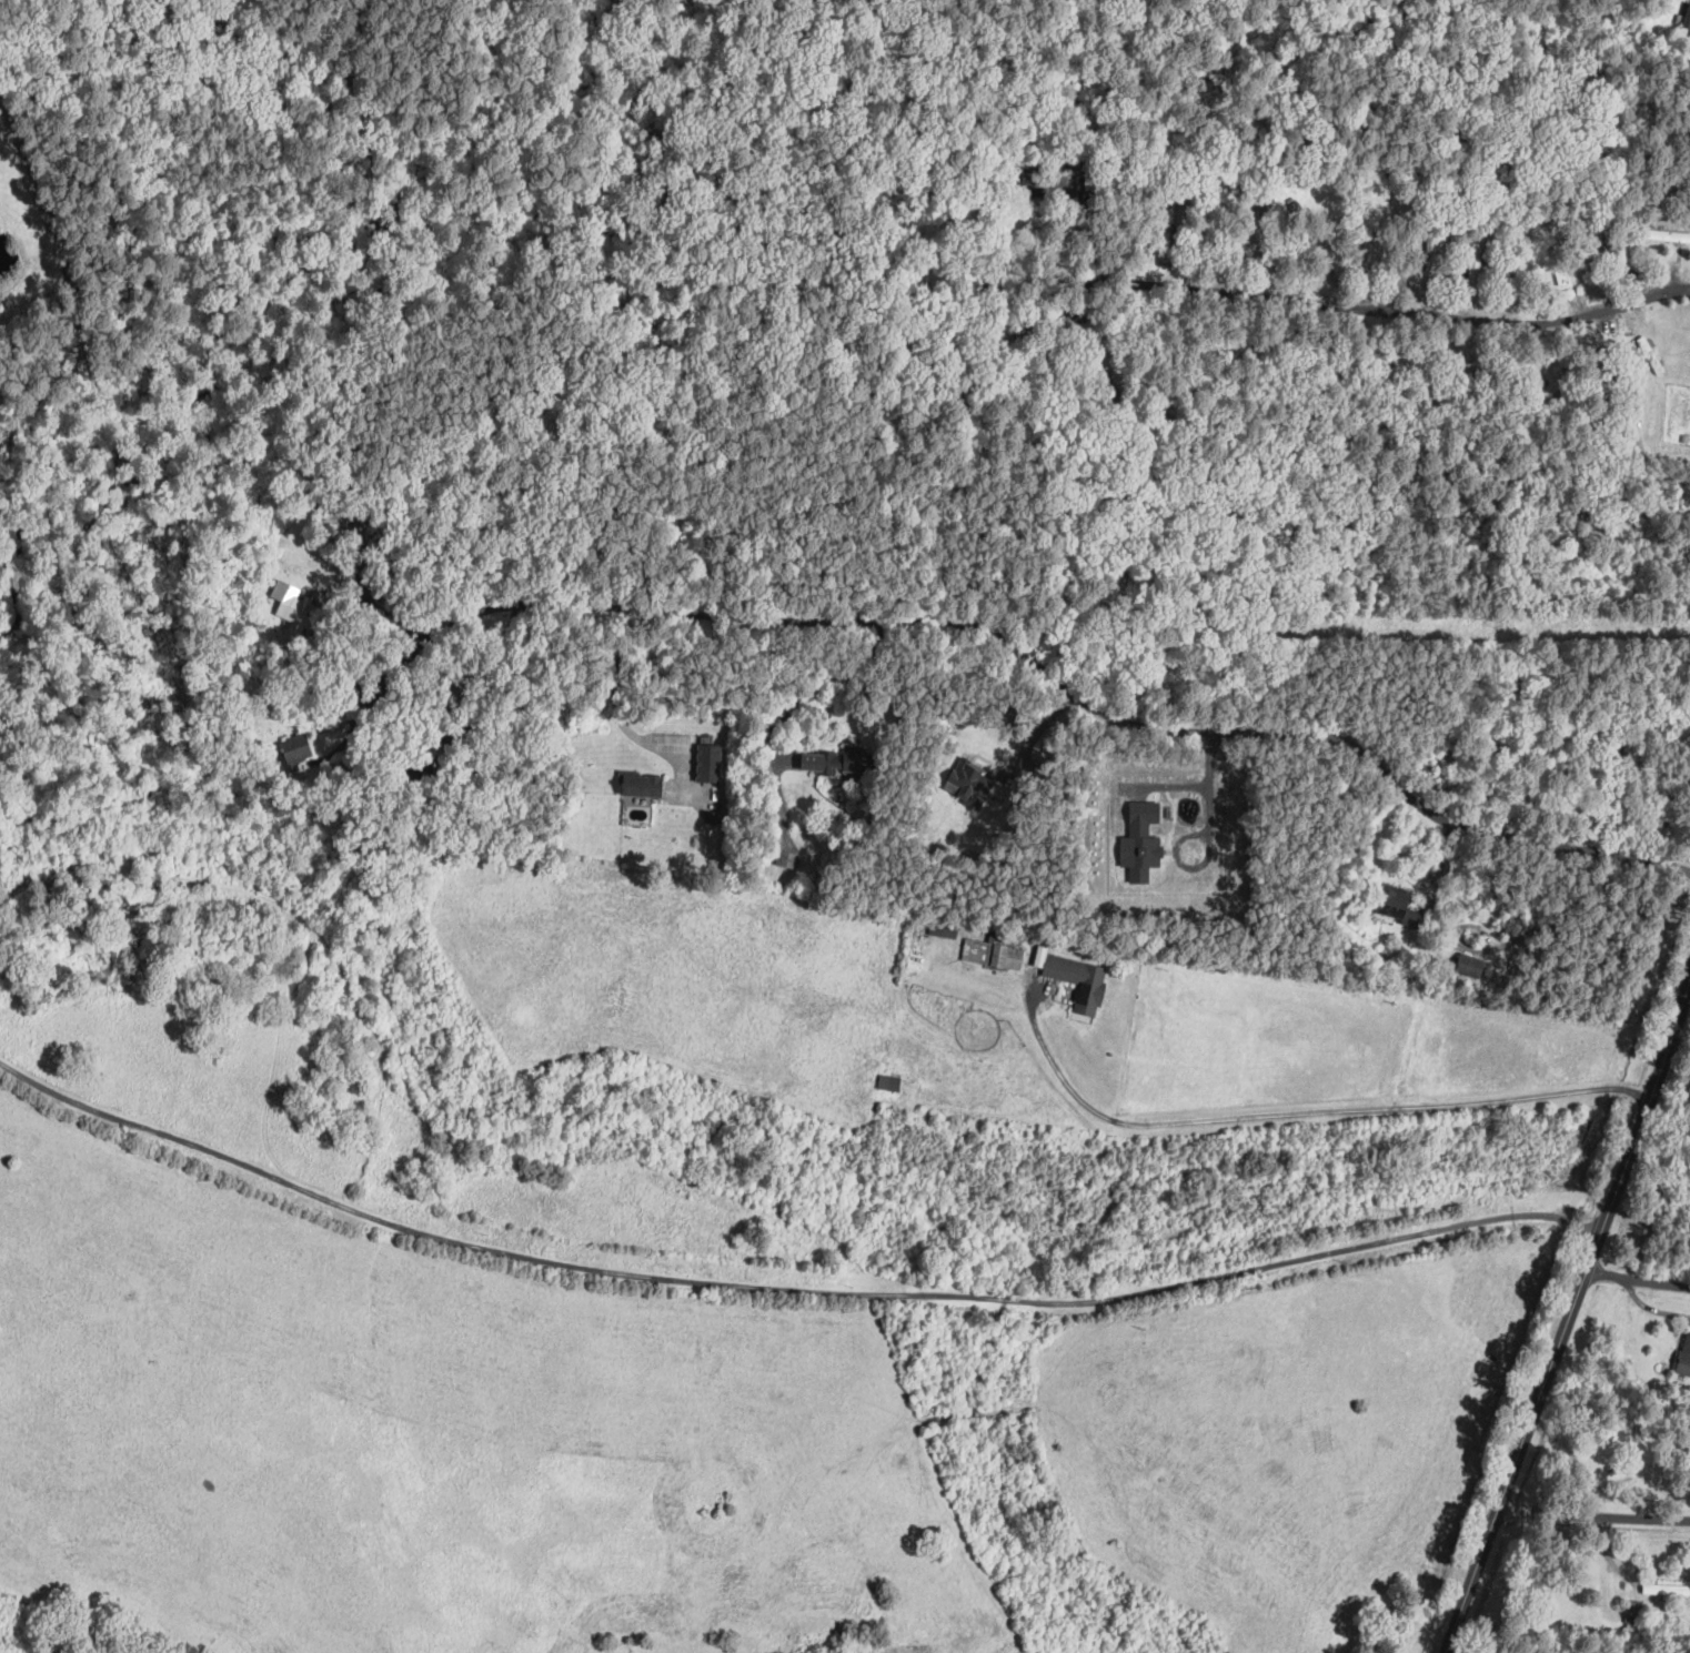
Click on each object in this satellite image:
building: (1687, 23)
building: (1556, 258)
building: (1476, 265)
building: (1578, 301)
road: (1396, 312)
building: (1471, 383)
building: (294, 606)
road: (1038, 661)
road: (809, 691)
road: (621, 715)
road: (1037, 735)
building: (296, 748)
building: (838, 759)
building: (708, 762)
building: (975, 783)
building: (643, 784)
building: (1140, 836)
road: (1201, 836)
road: (1440, 877)
building: (1394, 900)
building: (993, 951)
building: (1471, 964)
building: (1076, 977)
building: (889, 1081)
road: (1310, 1113)
road: (1636, 1280)
road: (785, 1288)
road: (1572, 1301)
road: (1651, 1308)
building: (1684, 1355)
road: (1595, 1513)
building: (1667, 1590)

